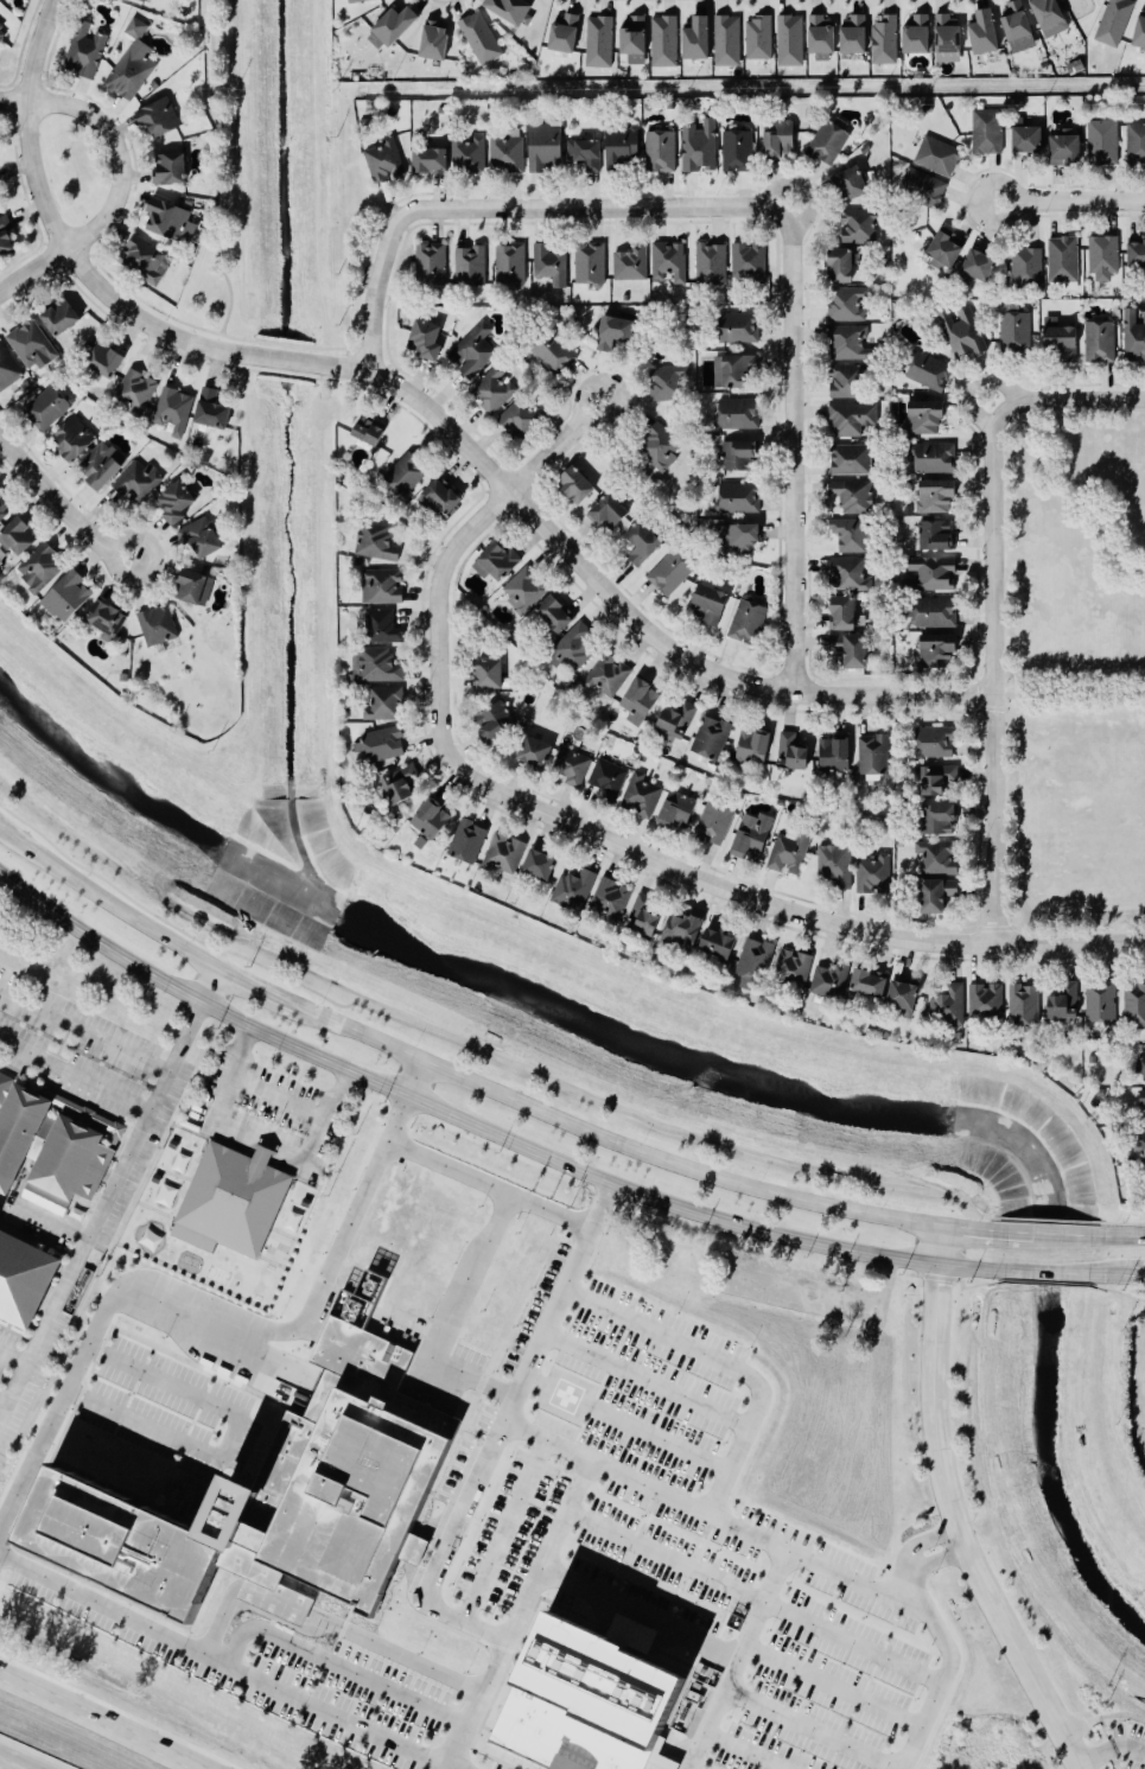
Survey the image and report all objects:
building: (354, 1)
building: (509, 9)
building: (1052, 17)
building: (1117, 21)
building: (1019, 26)
building: (395, 27)
building: (4, 32)
building: (567, 33)
building: (987, 33)
building: (855, 34)
building: (920, 34)
building: (1141, 34)
building: (823, 36)
building: (635, 37)
building: (949, 37)
building: (478, 38)
building: (761, 38)
building: (700, 40)
building: (791, 40)
building: (886, 40)
building: (437, 42)
building: (600, 42)
building: (666, 42)
building: (729, 42)
road: (38, 49)
building: (88, 49)
building: (132, 64)
building: (1043, 64)
road: (14, 100)
building: (669, 104)
building: (161, 119)
building: (988, 132)
building: (781, 139)
building: (1030, 140)
building: (831, 142)
building: (1103, 142)
building: (1137, 144)
building: (700, 146)
building: (547, 147)
building: (1068, 147)
building: (624, 148)
building: (738, 149)
building: (661, 152)
road: (119, 153)
building: (470, 154)
building: (508, 154)
building: (587, 154)
building: (940, 157)
building: (386, 159)
building: (433, 161)
road: (225, 168)
building: (172, 170)
road: (37, 177)
building: (855, 184)
building: (924, 187)
building: (0, 202)
road: (1070, 203)
road: (514, 209)
building: (172, 221)
building: (860, 227)
park: (349, 231)
building: (7, 238)
building: (948, 252)
building: (1105, 255)
building: (1138, 255)
building: (1064, 259)
building: (148, 260)
building: (669, 262)
building: (591, 263)
building: (712, 263)
building: (750, 263)
building: (511, 265)
building: (552, 265)
building: (631, 265)
building: (433, 266)
building: (471, 266)
building: (981, 266)
building: (845, 267)
building: (1028, 267)
road: (33, 272)
building: (847, 305)
building: (63, 318)
building: (742, 327)
building: (617, 332)
building: (1017, 332)
building: (963, 333)
building: (1134, 336)
building: (428, 341)
building: (1063, 341)
building: (1101, 342)
building: (851, 343)
building: (33, 346)
road: (297, 346)
building: (476, 351)
building: (555, 354)
building: (108, 361)
building: (8, 369)
building: (931, 371)
building: (733, 373)
building: (668, 382)
building: (848, 382)
building: (496, 389)
building: (138, 390)
road: (1067, 399)
building: (50, 408)
building: (214, 411)
building: (176, 412)
building: (739, 414)
building: (520, 418)
building: (853, 418)
building: (927, 418)
building: (371, 432)
building: (76, 440)
building: (662, 447)
road: (793, 448)
building: (742, 456)
building: (936, 458)
building: (853, 459)
building: (104, 465)
building: (407, 475)
building: (139, 482)
building: (578, 486)
building: (853, 496)
building: (939, 496)
building: (444, 498)
building: (740, 498)
building: (178, 503)
road: (61, 504)
road: (520, 505)
building: (5, 508)
building: (610, 514)
building: (852, 535)
building: (937, 536)
building: (20, 537)
building: (203, 539)
building: (743, 539)
building: (377, 543)
building: (644, 545)
road: (447, 559)
building: (500, 562)
building: (42, 568)
building: (672, 573)
building: (934, 573)
building: (852, 575)
building: (383, 586)
building: (196, 588)
building: (526, 590)
building: (69, 597)
building: (713, 605)
building: (937, 613)
building: (846, 615)
building: (558, 616)
building: (109, 621)
building: (749, 623)
building: (155, 625)
building: (384, 628)
building: (577, 647)
building: (854, 650)
building: (941, 650)
building: (377, 666)
road: (992, 670)
building: (492, 673)
park: (1074, 673)
building: (609, 676)
road: (1069, 691)
building: (643, 699)
building: (384, 702)
building: (679, 720)
building: (496, 721)
building: (712, 738)
building: (937, 742)
building: (381, 745)
building: (755, 749)
building: (537, 751)
building: (794, 753)
building: (837, 755)
building: (874, 755)
building: (573, 765)
building: (610, 778)
building: (940, 778)
building: (401, 785)
building: (642, 794)
building: (778, 802)
building: (679, 812)
building: (941, 819)
building: (432, 821)
building: (715, 822)
building: (753, 836)
building: (470, 841)
building: (507, 852)
building: (790, 853)
building: (940, 857)
building: (837, 864)
building: (542, 865)
building: (874, 874)
road: (720, 887)
building: (575, 889)
building: (940, 895)
building: (611, 899)
road: (107, 901)
building: (647, 916)
building: (685, 929)
building: (721, 943)
road: (1069, 943)
building: (756, 962)
building: (795, 967)
building: (833, 980)
road: (167, 982)
building: (872, 982)
road: (211, 988)
road: (256, 988)
building: (905, 998)
building: (987, 1000)
building: (1066, 1001)
building: (1136, 1001)
building: (1102, 1003)
building: (952, 1005)
building: (1025, 1005)
road: (84, 1031)
building: (1090, 1058)
building: (1141, 1065)
road: (415, 1077)
road: (74, 1078)
building: (5, 1084)
building: (1143, 1097)
road: (276, 1099)
building: (1144, 1134)
road: (260, 1137)
road: (609, 1138)
building: (1140, 1147)
road: (261, 1152)
building: (47, 1184)
road: (513, 1194)
road: (663, 1201)
building: (229, 1203)
road: (106, 1204)
road: (974, 1228)
road: (1023, 1232)
road: (1064, 1234)
road: (1118, 1235)
road: (939, 1245)
building: (681, 1260)
road: (1047, 1274)
road: (1114, 1277)
road: (1138, 1278)
road: (825, 1296)
road: (205, 1305)
road: (452, 1316)
road: (727, 1363)
road: (13, 1364)
building: (834, 1364)
road: (524, 1370)
road: (643, 1380)
helipad: (567, 1395)
road: (5, 1401)
road: (5, 1413)
road: (230, 1438)
road: (662, 1439)
road: (628, 1482)
building: (274, 1498)
road: (954, 1531)
road: (505, 1533)
road: (439, 1552)
road: (757, 1593)
road: (637, 1614)
road: (327, 1623)
road: (733, 1660)
road: (228, 1661)
road: (337, 1669)
road: (947, 1673)
road: (832, 1686)
building: (589, 1698)
road: (94, 1724)
road: (807, 1730)
road: (740, 1750)
road: (1109, 1750)
road: (5, 1765)

